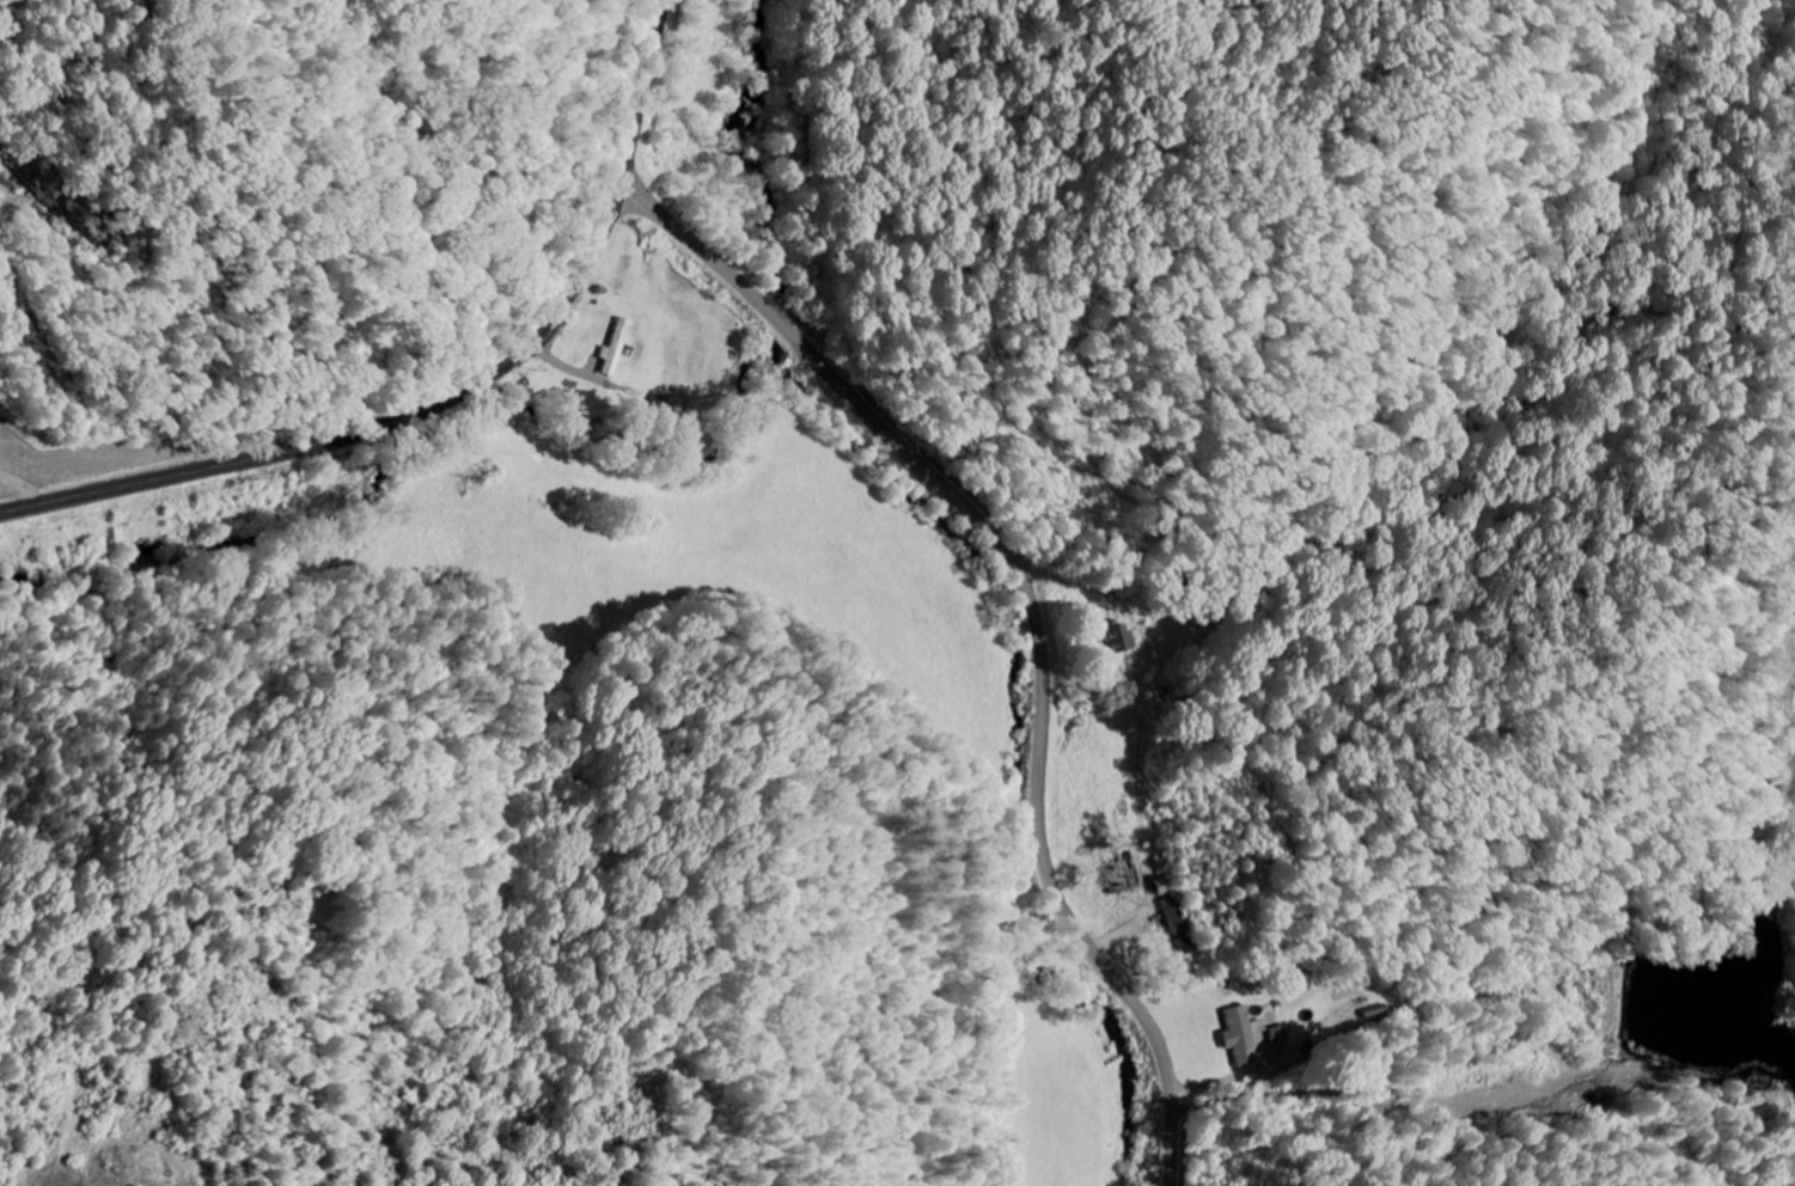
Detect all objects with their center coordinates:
road: (824, 178)
building: (618, 348)
road: (453, 397)
road: (1037, 611)
building: (1115, 637)
building: (1174, 916)
building: (1241, 1037)
building: (1277, 1044)

